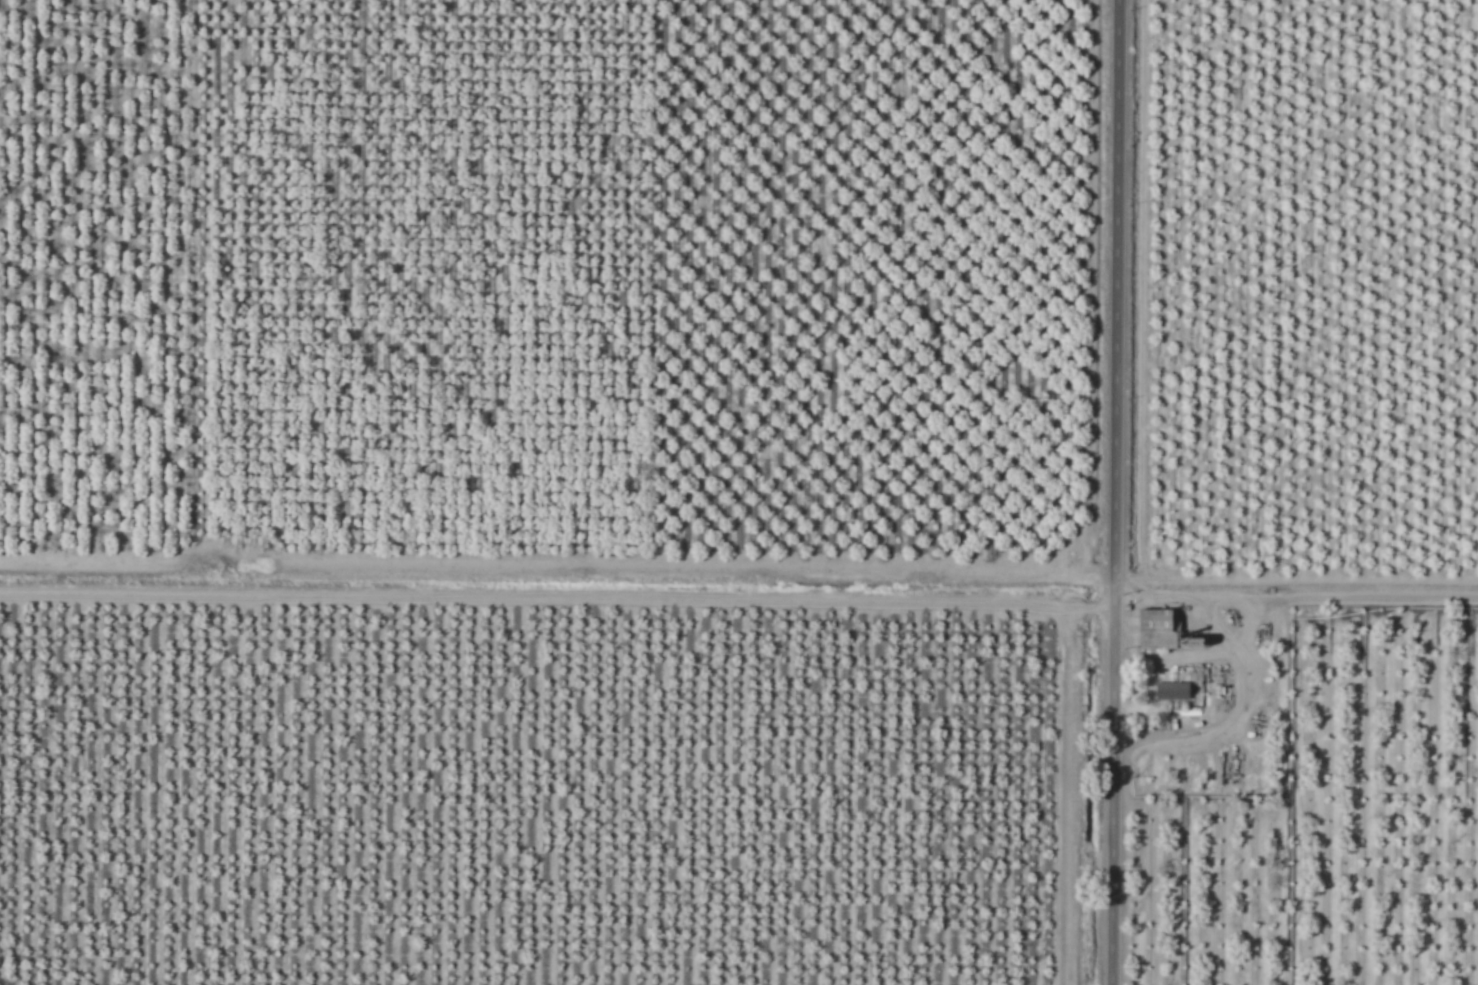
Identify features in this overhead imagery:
road: (1123, 492)
building: (1172, 691)

